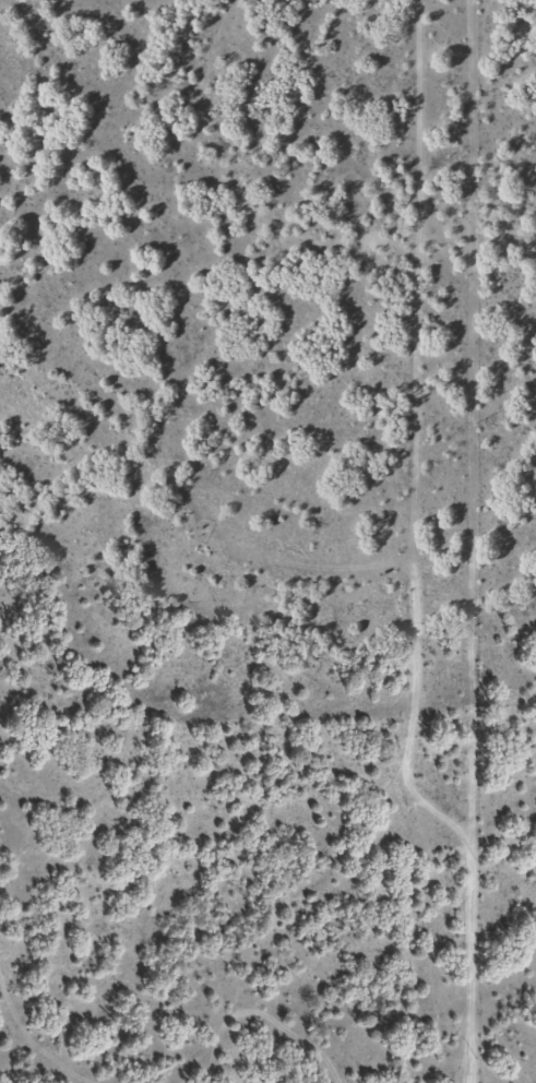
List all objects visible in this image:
road: (421, 541)

